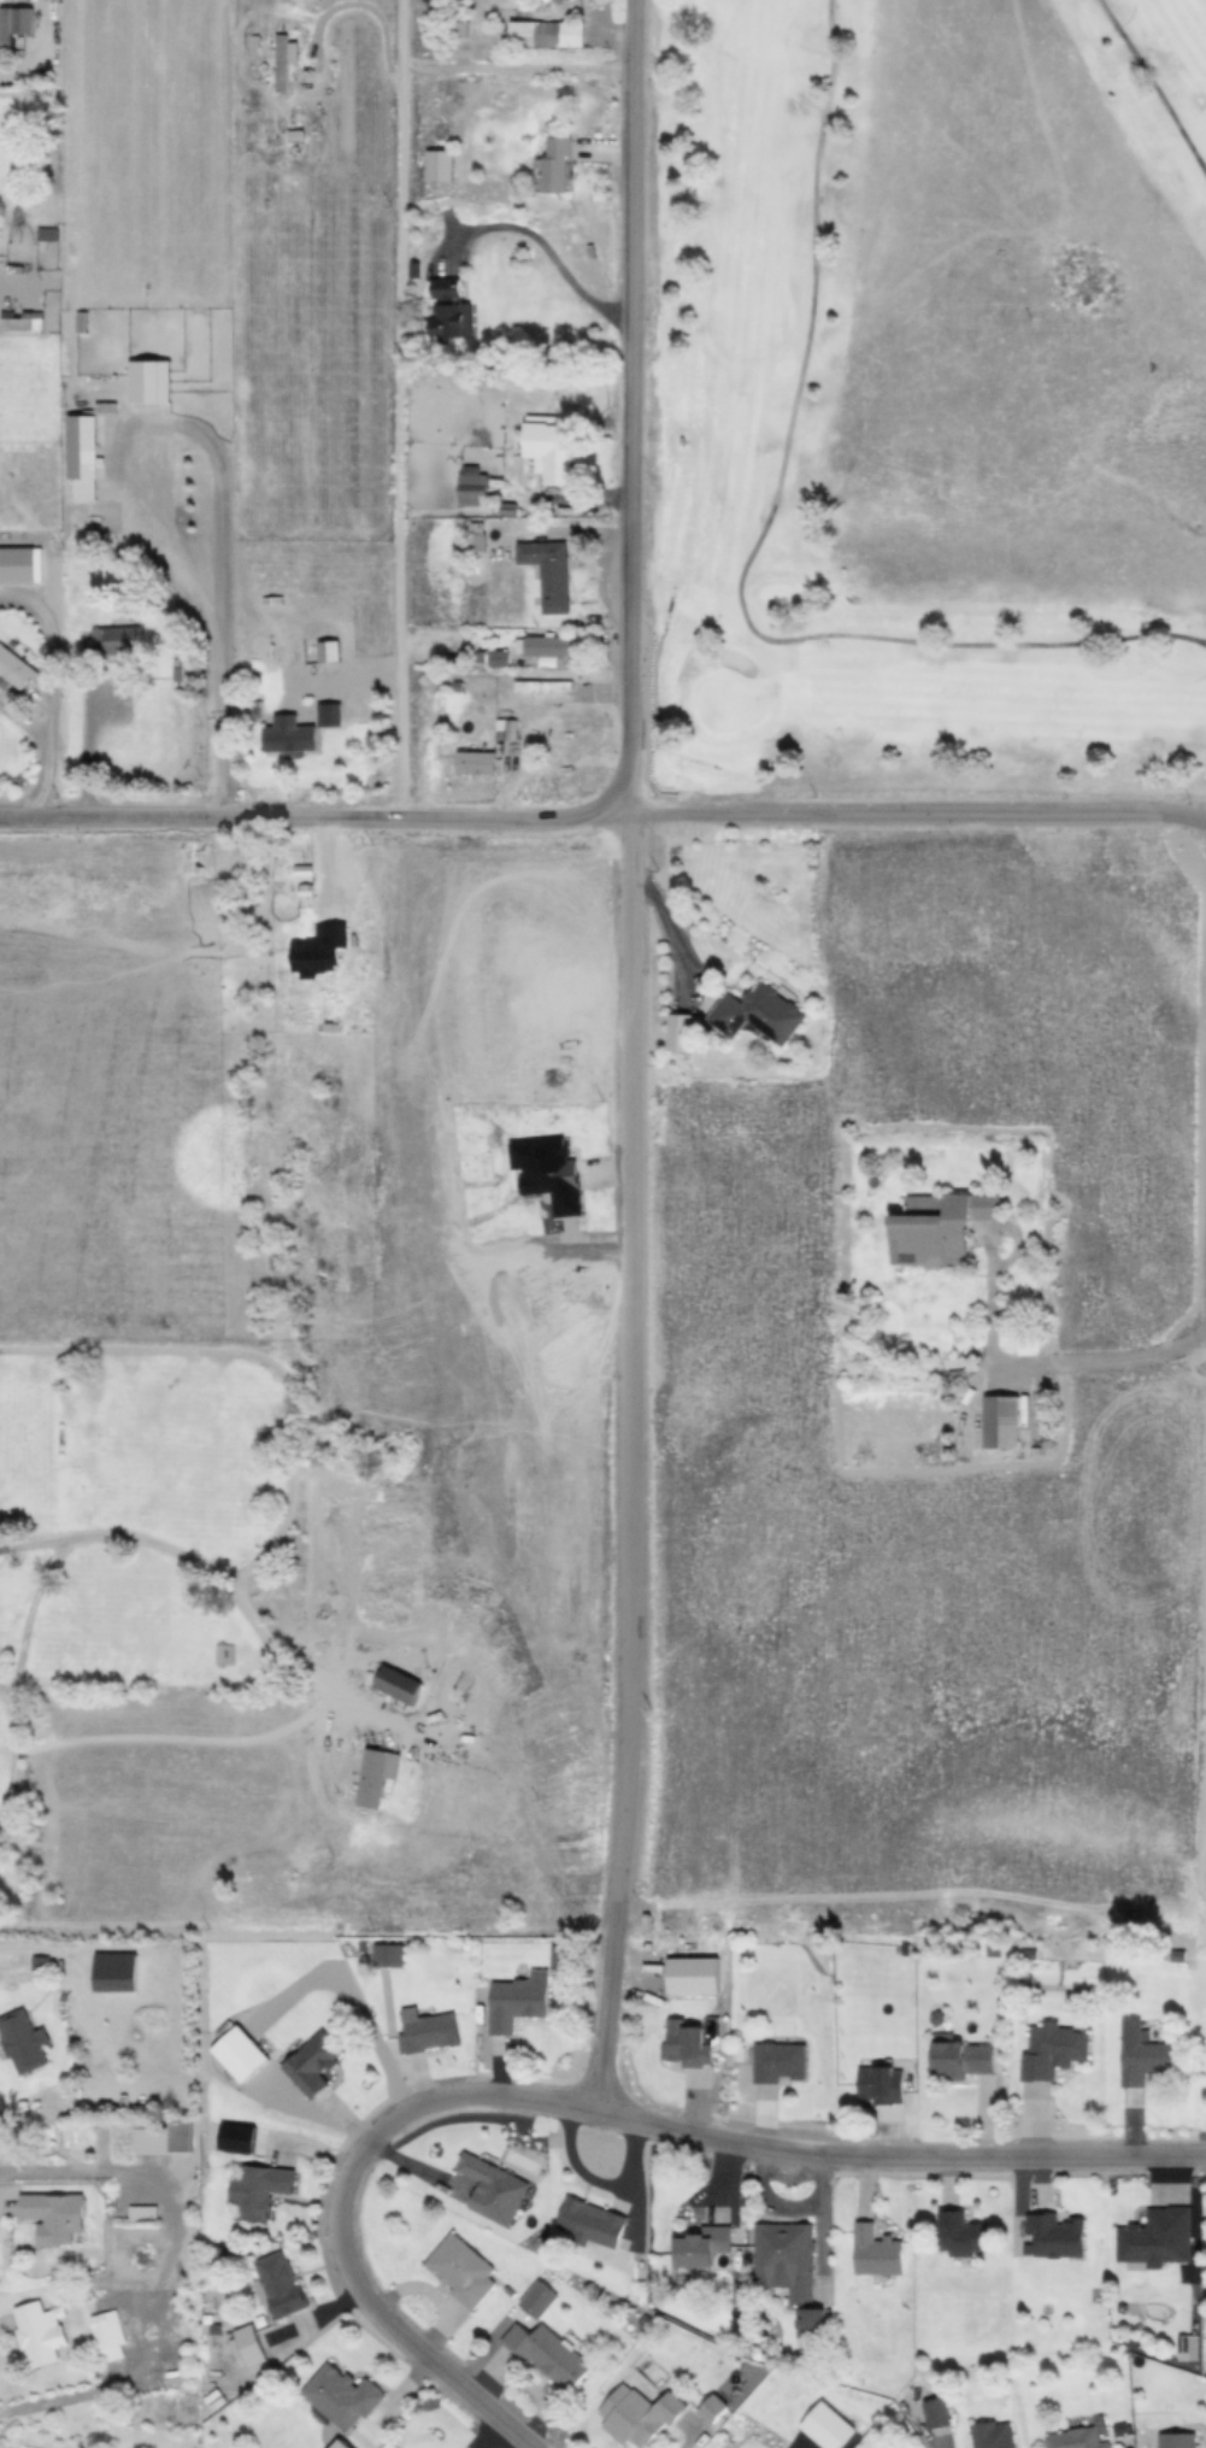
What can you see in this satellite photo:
building: (571, 2)
building: (13, 23)
building: (558, 37)
building: (267, 45)
building: (296, 65)
road: (520, 71)
building: (308, 140)
building: (451, 169)
building: (569, 169)
road: (565, 272)
building: (458, 293)
building: (25, 321)
building: (465, 324)
road: (407, 412)
building: (80, 446)
building: (558, 452)
building: (482, 489)
road: (122, 494)
building: (487, 540)
building: (16, 564)
building: (559, 575)
building: (114, 640)
building: (558, 650)
building: (339, 654)
building: (508, 663)
building: (13, 671)
road: (53, 688)
building: (557, 694)
building: (339, 717)
building: (513, 732)
building: (299, 738)
building: (487, 767)
road: (602, 822)
road: (637, 963)
building: (770, 1016)
building: (693, 1034)
building: (936, 1226)
road: (990, 1255)
road: (257, 1361)
road: (1101, 1362)
building: (999, 1421)
road: (211, 1572)
road: (30, 1614)
building: (223, 1652)
building: (395, 1684)
road: (13, 1749)
building: (373, 1775)
road: (1202, 1812)
building: (37, 1961)
building: (513, 2003)
road: (611, 2019)
building: (426, 2031)
building: (20, 2041)
building: (683, 2043)
building: (1048, 2049)
building: (1140, 2054)
building: (959, 2057)
building: (243, 2060)
building: (310, 2061)
building: (776, 2061)
building: (880, 2084)
building: (160, 2135)
road: (900, 2160)
building: (255, 2186)
building: (490, 2188)
road: (340, 2208)
building: (141, 2211)
building: (52, 2215)
building: (588, 2221)
building: (955, 2231)
building: (1052, 2233)
building: (1154, 2236)
building: (699, 2244)
building: (875, 2250)
building: (787, 2267)
building: (459, 2270)
building: (276, 2284)
building: (536, 2299)
building: (105, 2329)
building: (37, 2333)
building: (245, 2347)
building: (546, 2354)
building: (340, 2395)
building: (712, 2408)
building: (637, 2415)
building: (935, 2415)
building: (825, 2425)
building: (990, 2434)
building: (1071, 2438)

